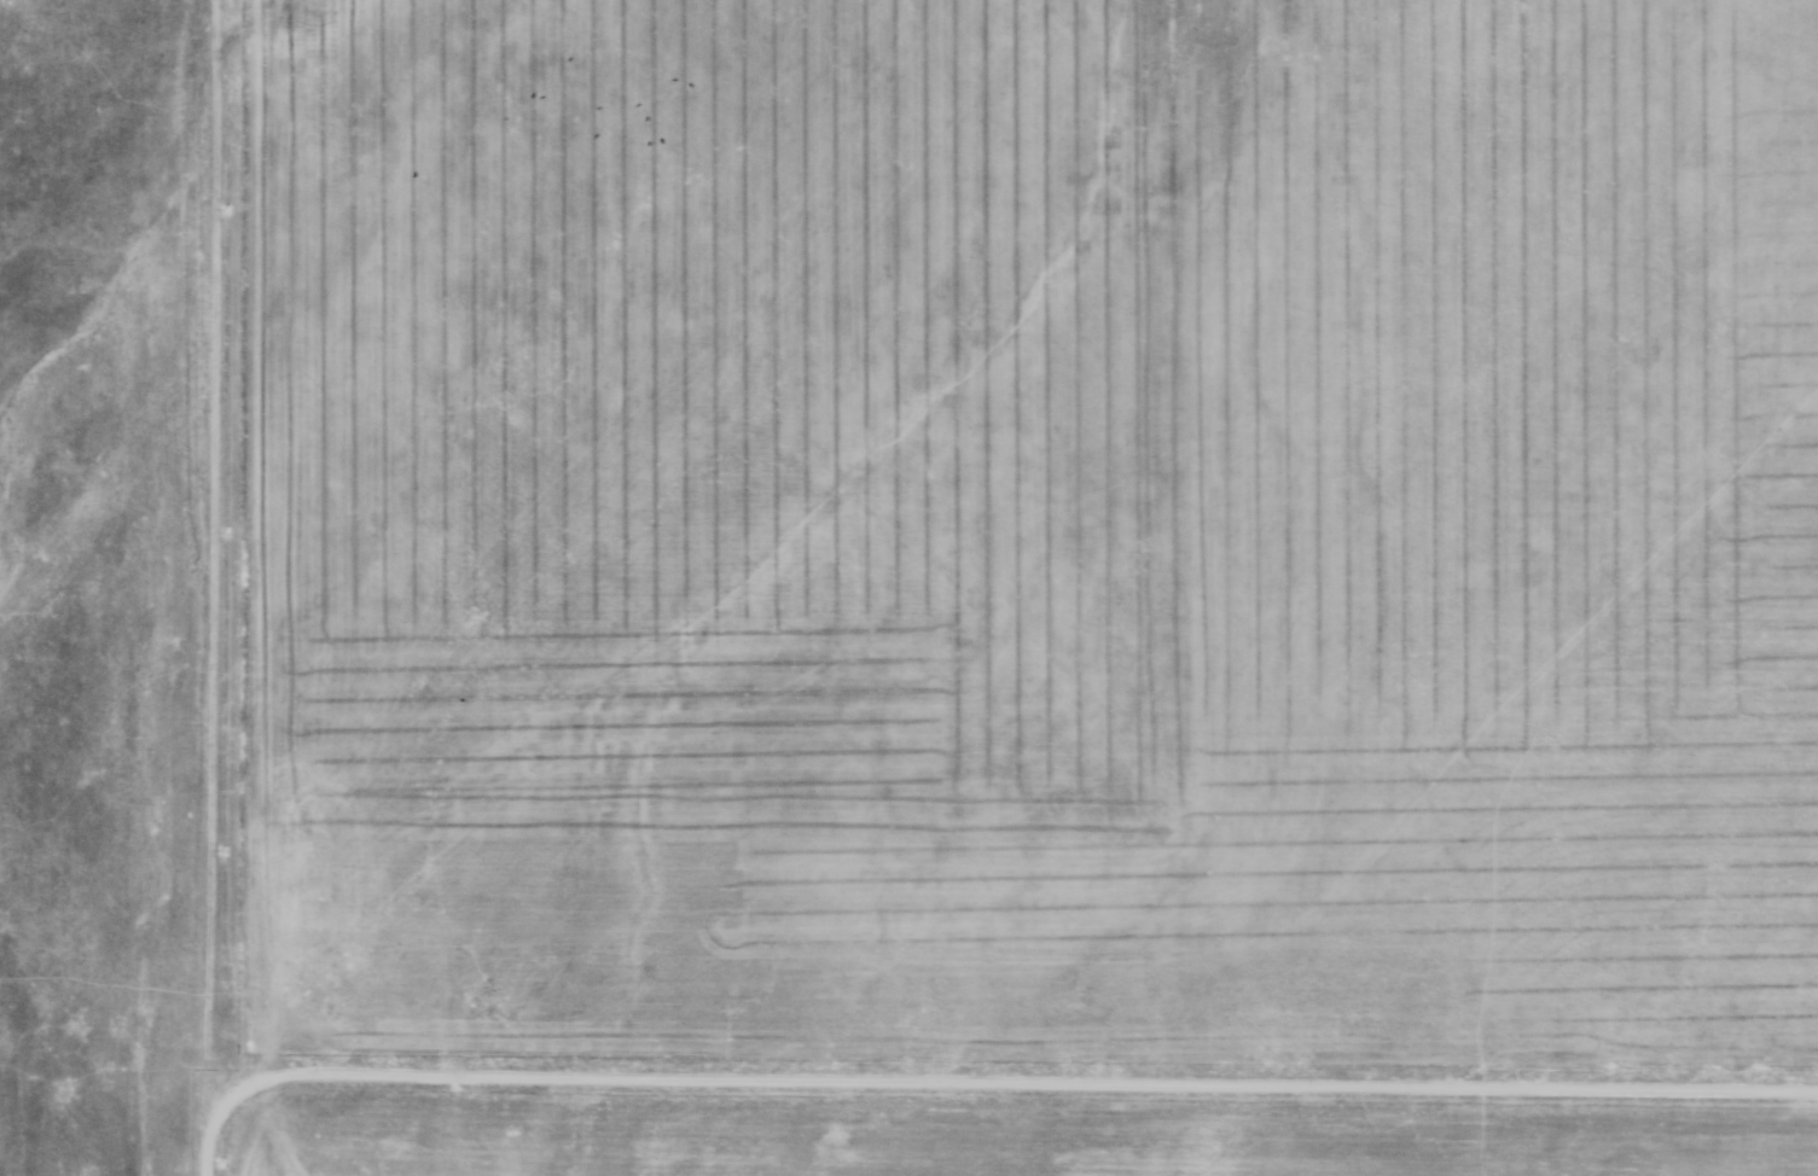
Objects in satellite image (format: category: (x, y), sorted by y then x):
road: (216, 34)
road: (214, 615)
road: (981, 1084)

